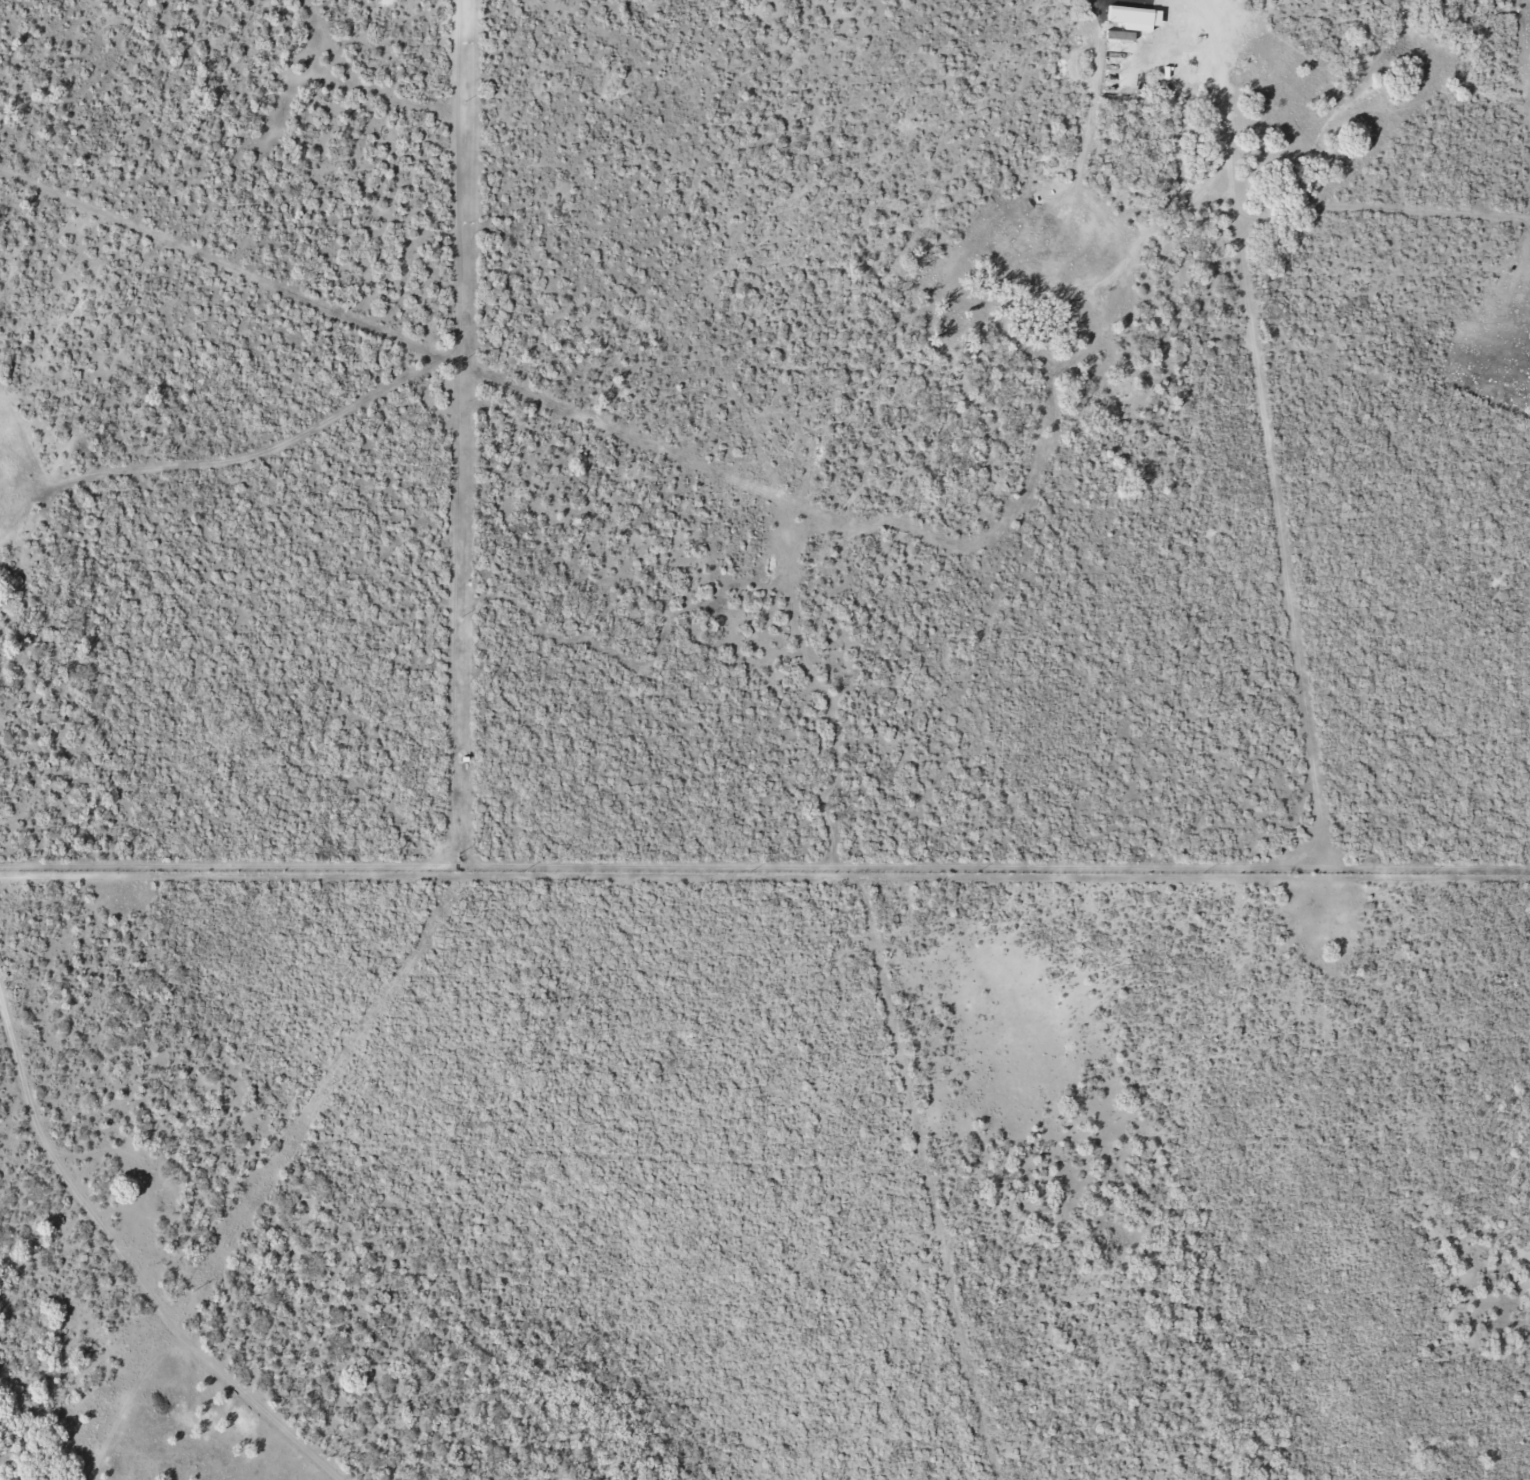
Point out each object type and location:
building: (1134, 19)
road: (122, 1257)

